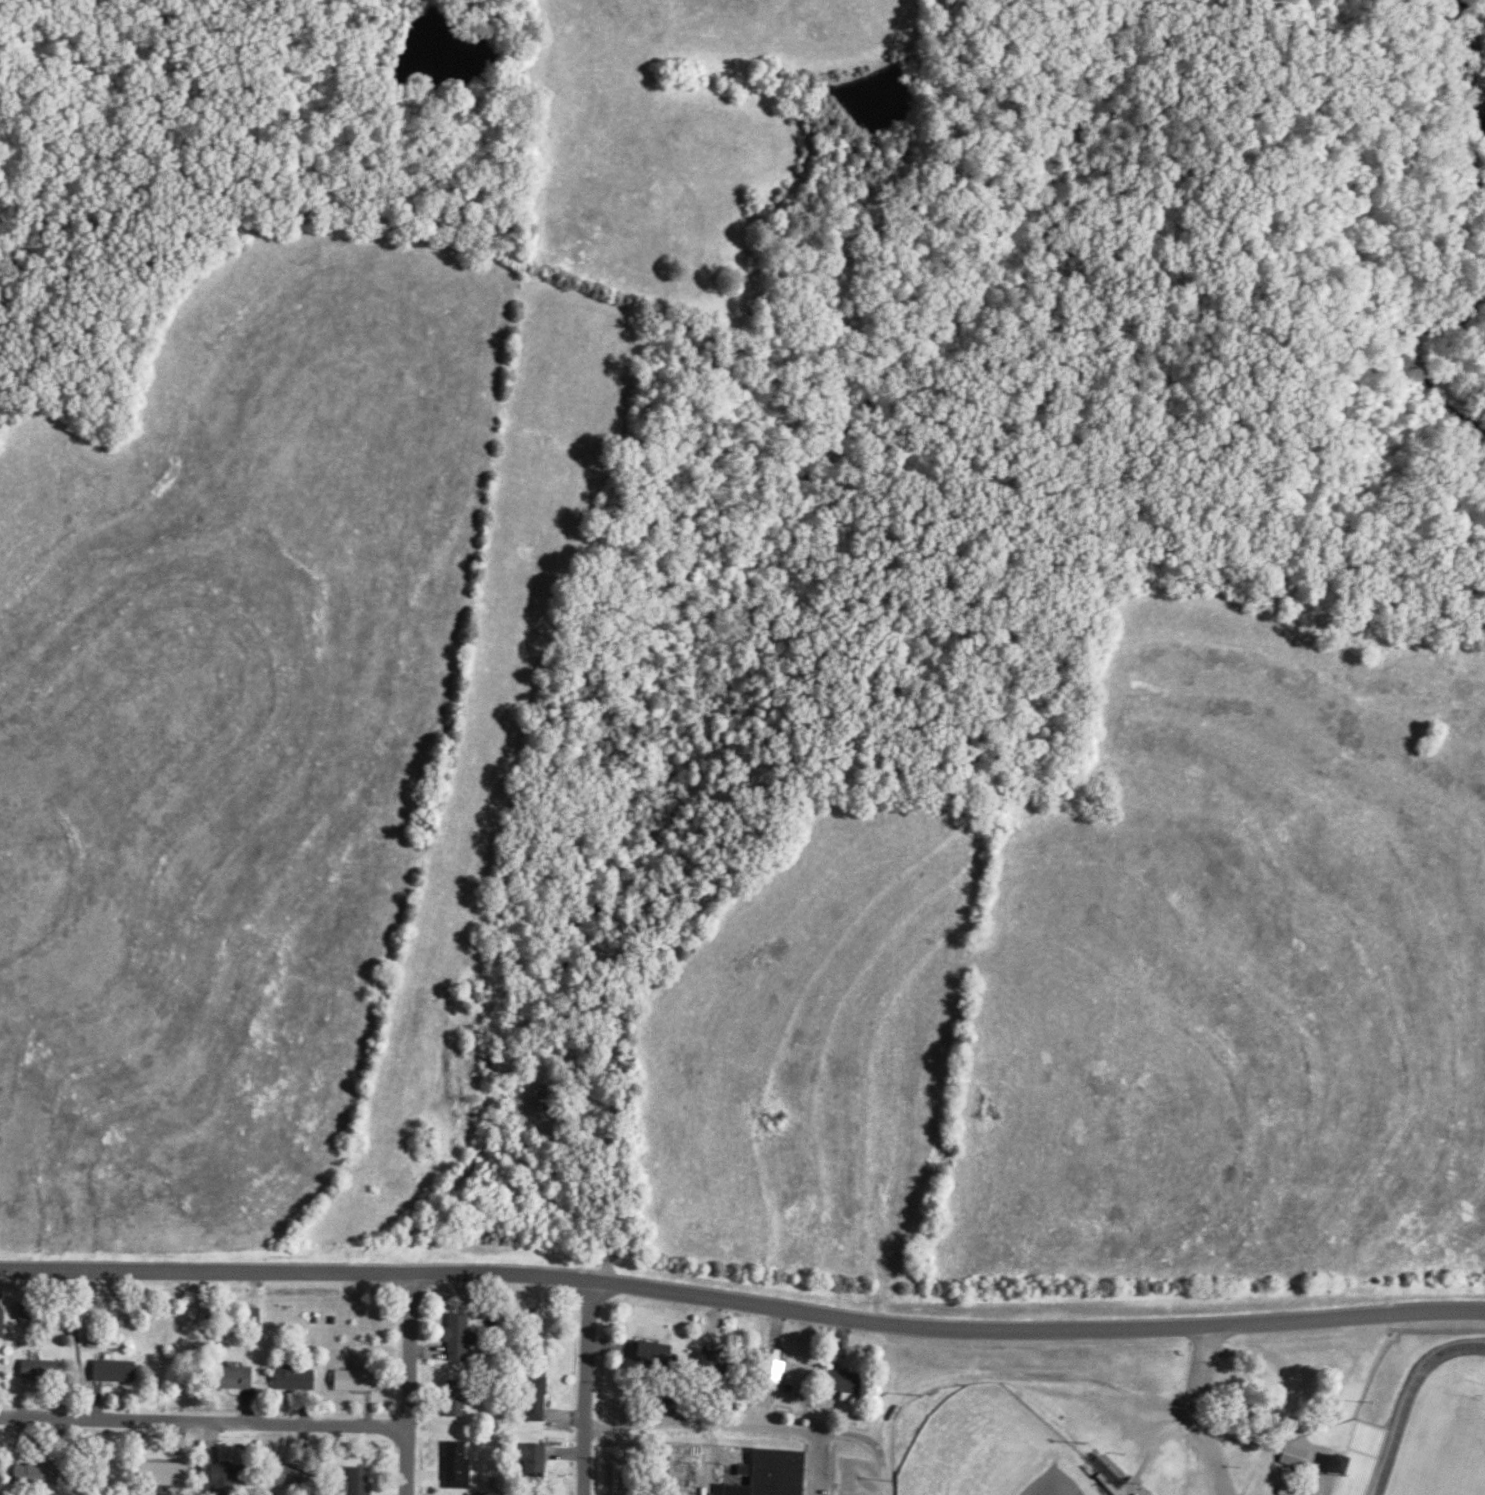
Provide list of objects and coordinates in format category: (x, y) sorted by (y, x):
road: (742, 1305)
building: (29, 1311)
building: (5, 1322)
building: (462, 1338)
building: (1, 1367)
building: (46, 1370)
building: (121, 1371)
road: (1020, 1372)
building: (245, 1377)
building: (363, 1378)
building: (300, 1379)
road: (407, 1383)
road: (585, 1388)
road: (711, 1397)
road: (1204, 1412)
road: (203, 1420)
road: (755, 1426)
park: (990, 1446)
building: (1297, 1455)
building: (1335, 1462)
building: (463, 1465)
building: (0, 1473)
building: (178, 1473)
building: (43, 1474)
building: (777, 1474)
building: (304, 1475)
building: (366, 1480)
building: (1294, 1488)
building: (1139, 1493)

